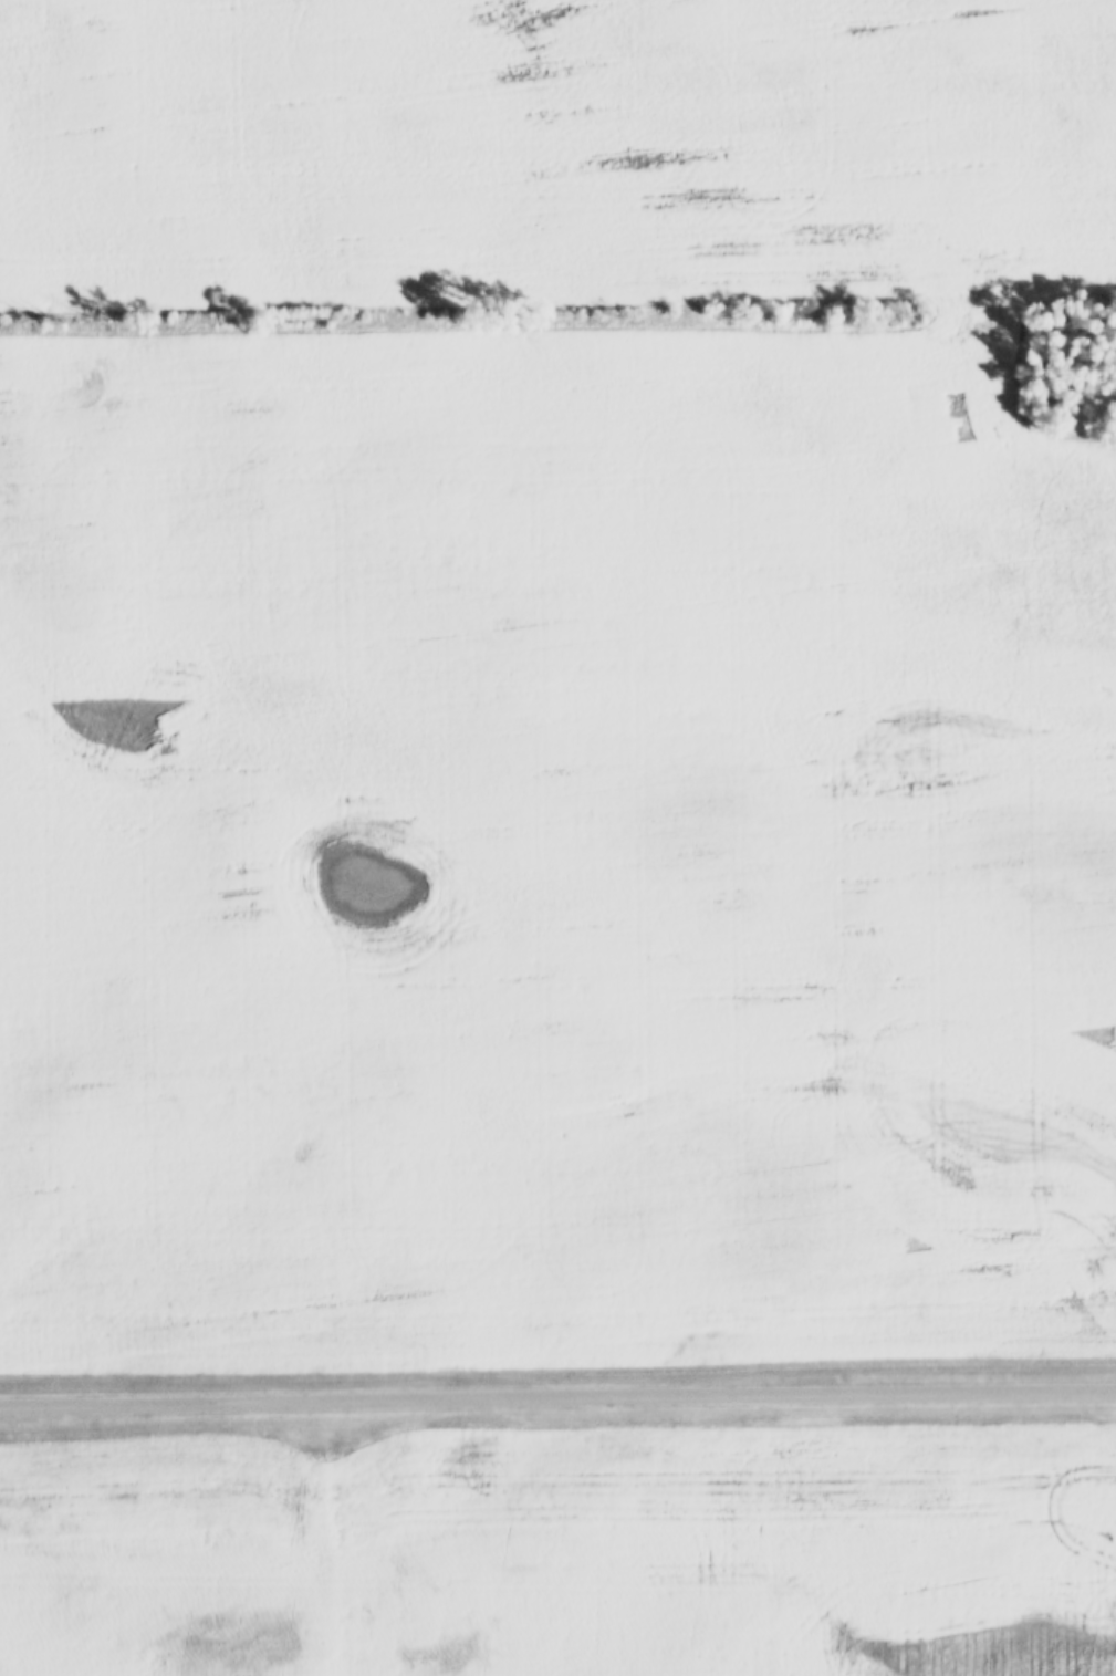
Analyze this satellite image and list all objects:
road: (557, 1396)

